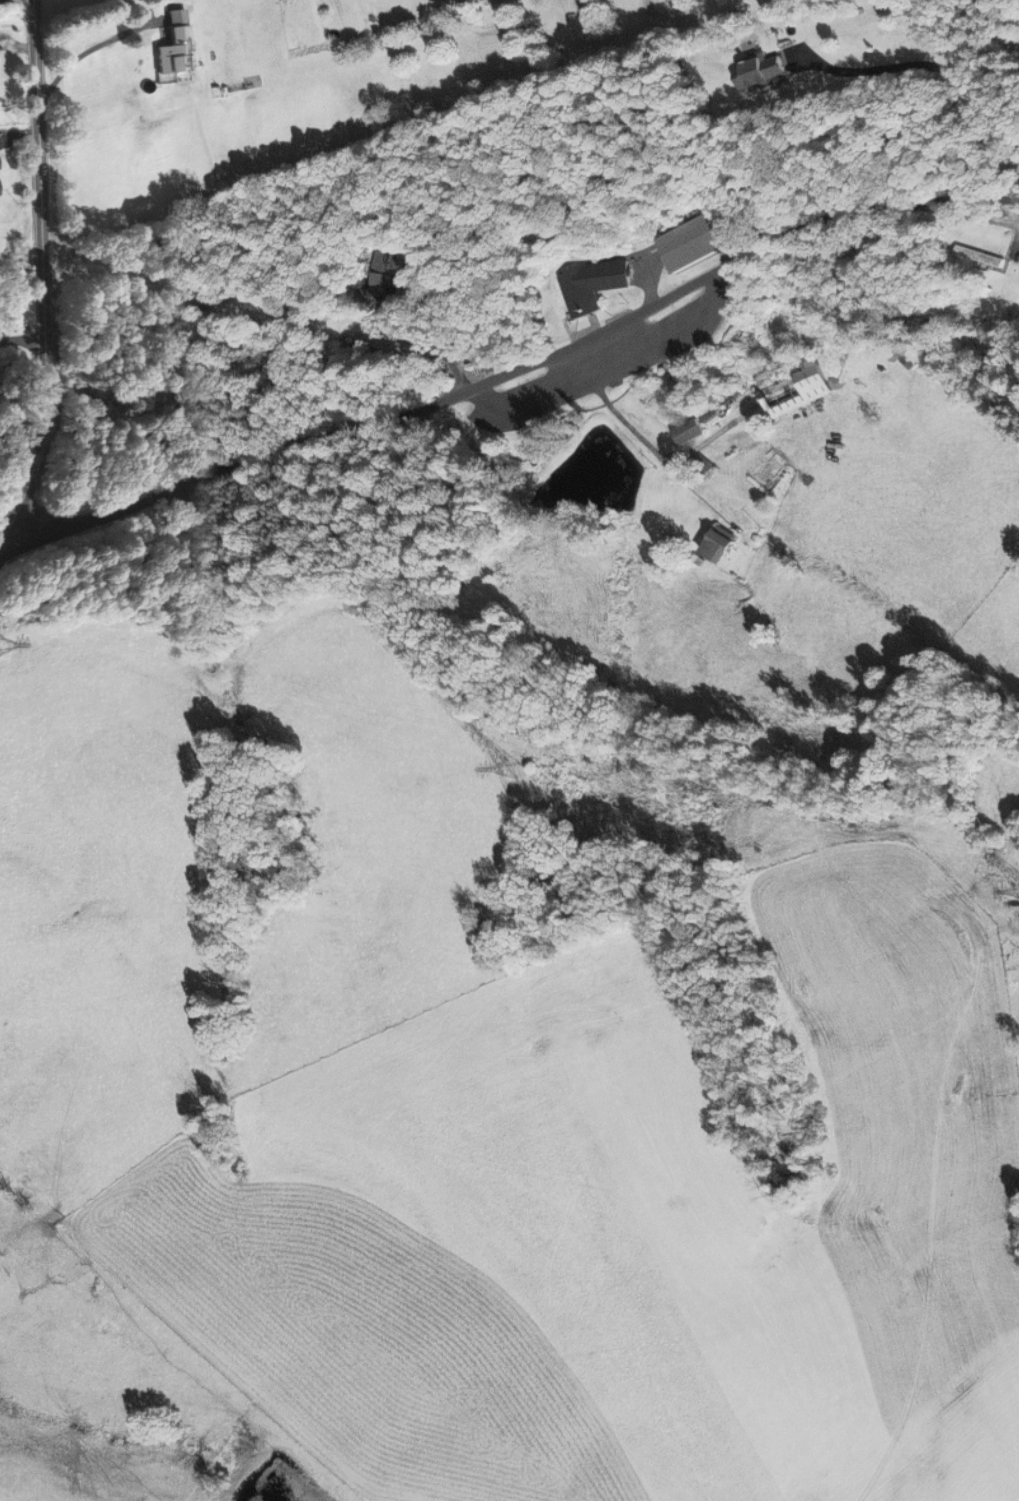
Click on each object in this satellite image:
building: (175, 46)
road: (927, 64)
building: (760, 72)
road: (965, 216)
building: (698, 241)
road: (38, 259)
building: (595, 282)
road: (20, 349)
building: (908, 354)
road: (518, 379)
building: (794, 386)
building: (689, 432)
building: (721, 544)
power tower: (515, 770)

